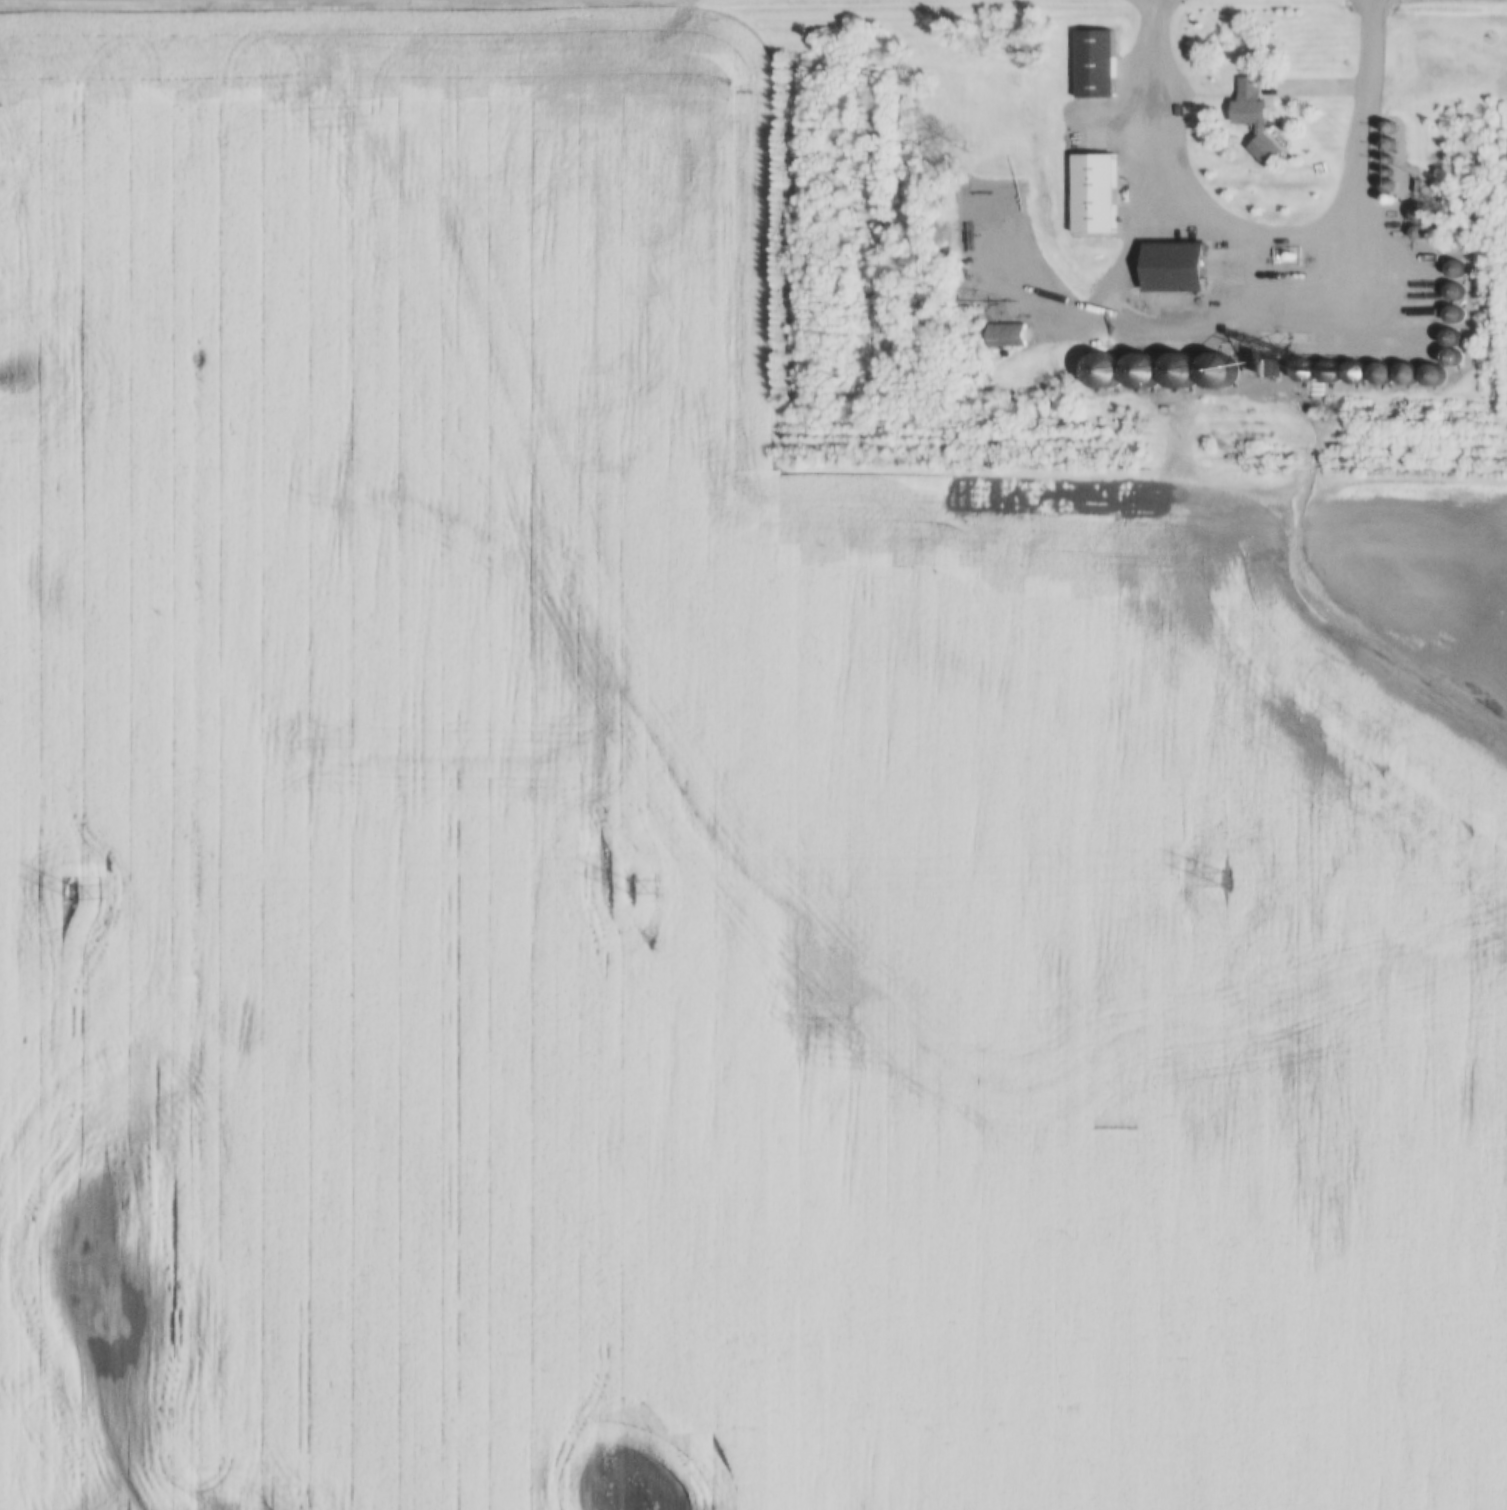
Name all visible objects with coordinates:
building: (1095, 65)
building: (1255, 119)
building: (1092, 194)
building: (1420, 215)
road: (1269, 237)
building: (1176, 268)
building: (1454, 269)
building: (1454, 292)
building: (1452, 314)
building: (1005, 335)
building: (1451, 358)
building: (1141, 371)
building: (1379, 373)
building: (1405, 375)
building: (1431, 376)
power tower: (1224, 881)
power tower: (627, 888)
power tower: (72, 891)

